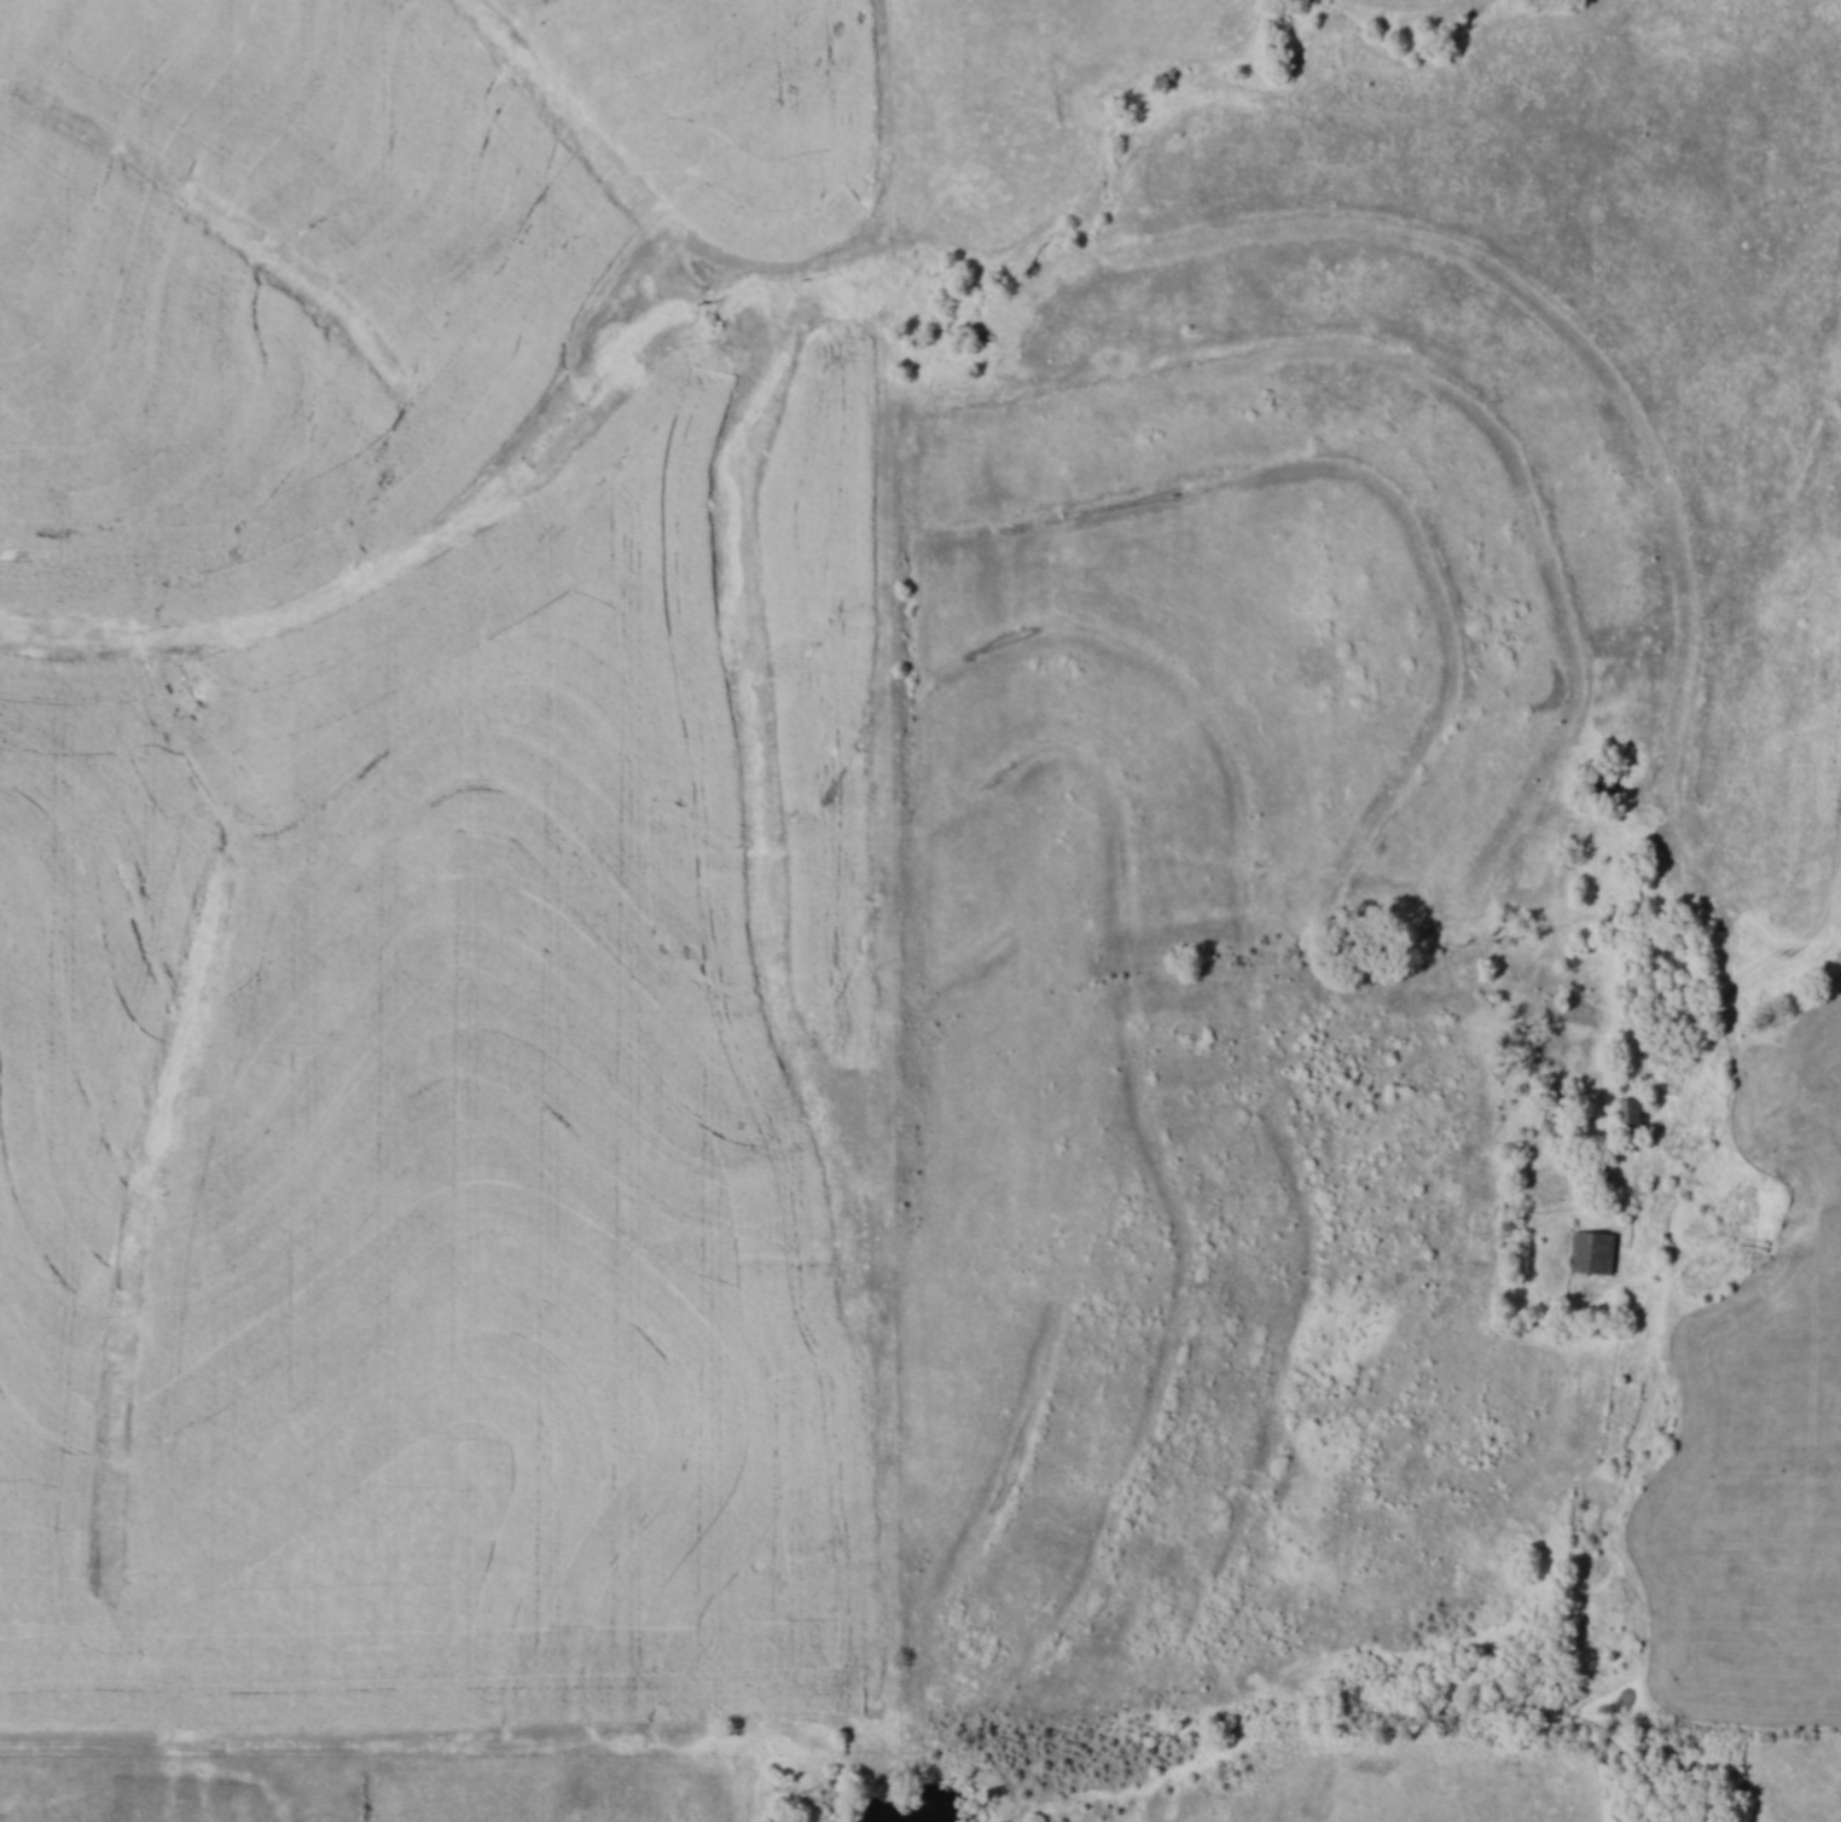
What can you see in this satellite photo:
building: (1632, 1120)
building: (1595, 1252)

